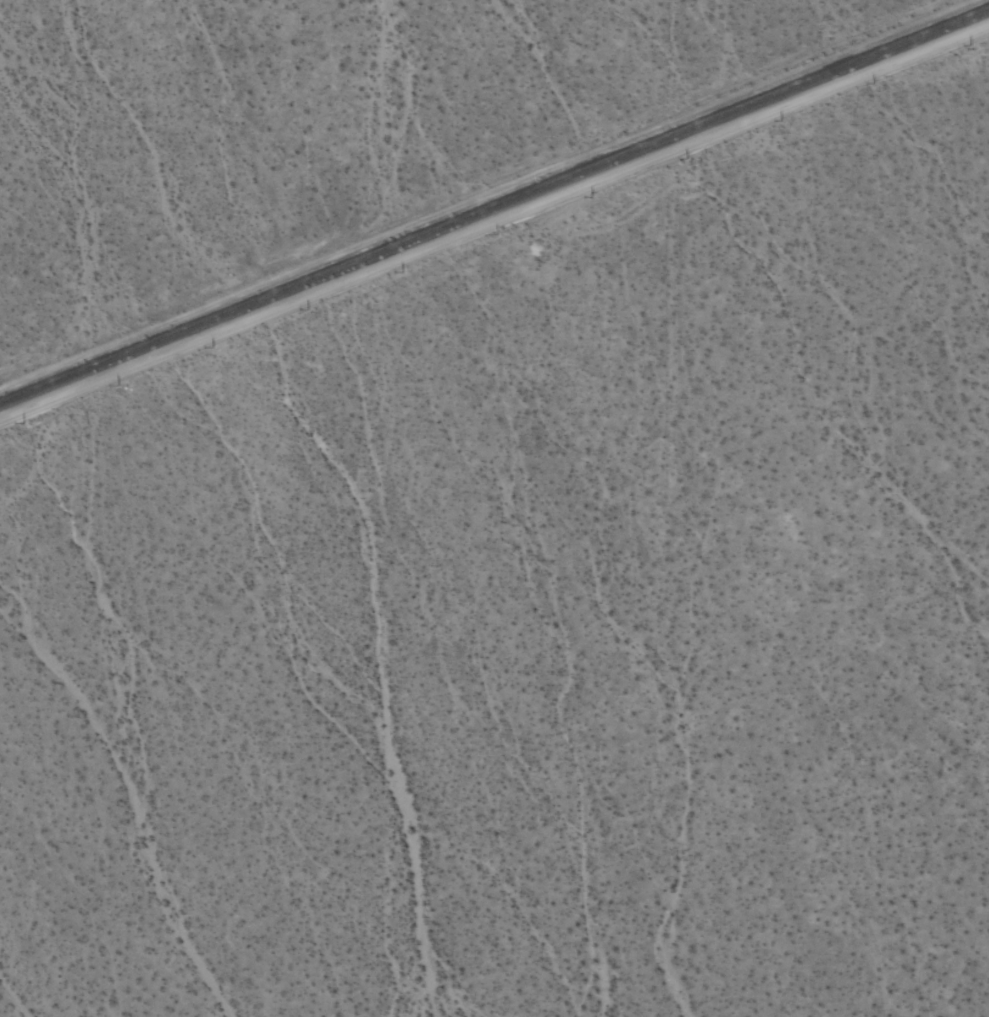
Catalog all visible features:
railway: (494, 199)
road: (493, 220)

